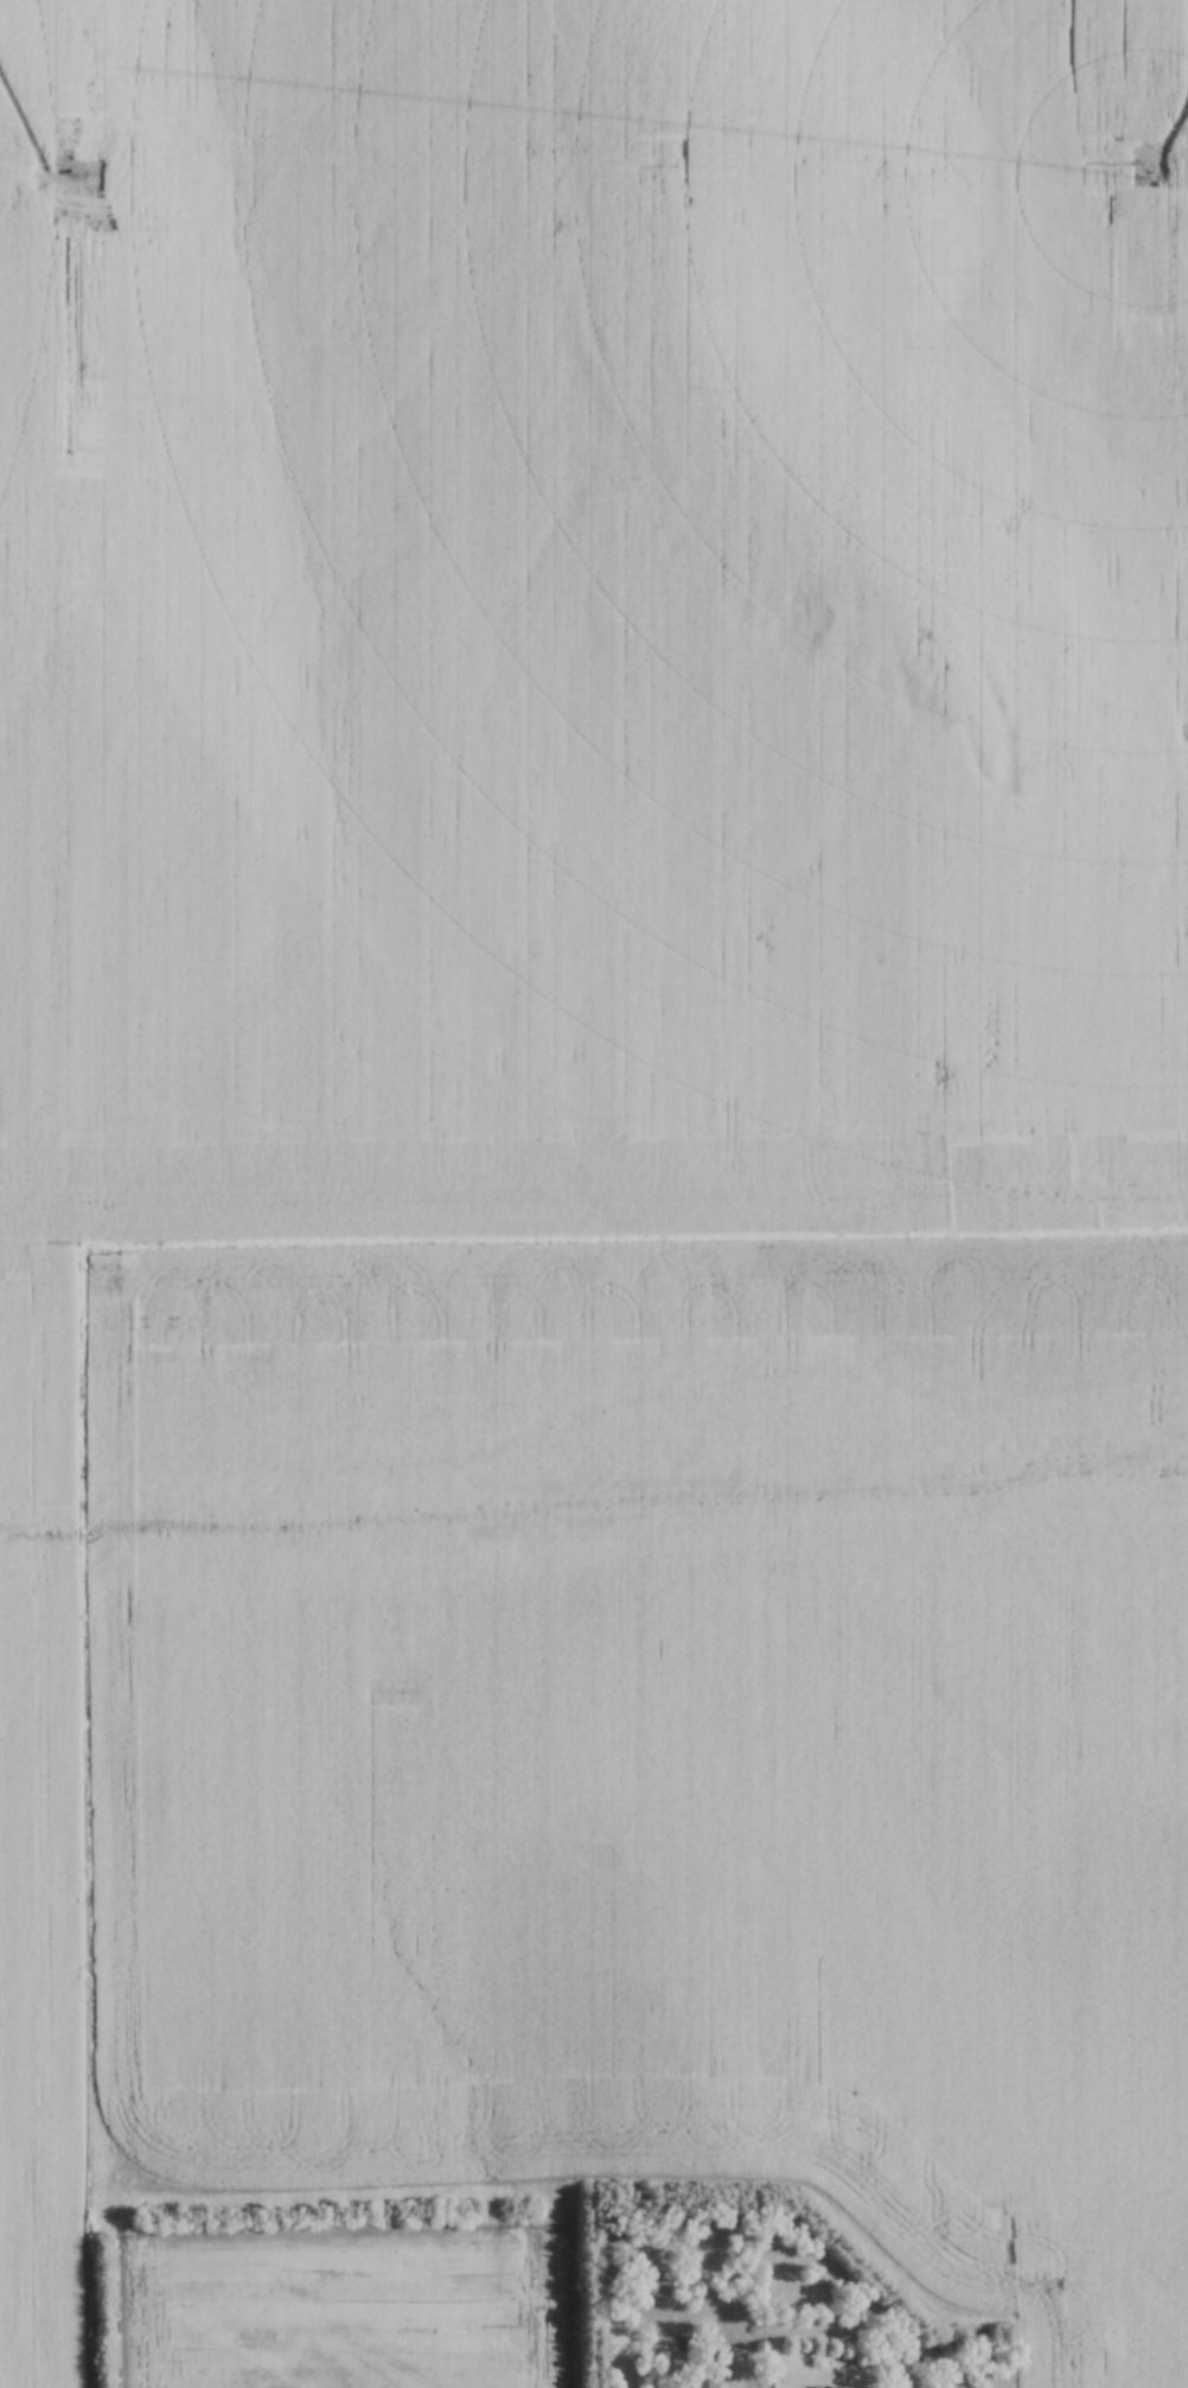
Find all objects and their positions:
building: (709, 2381)
building: (838, 2387)

